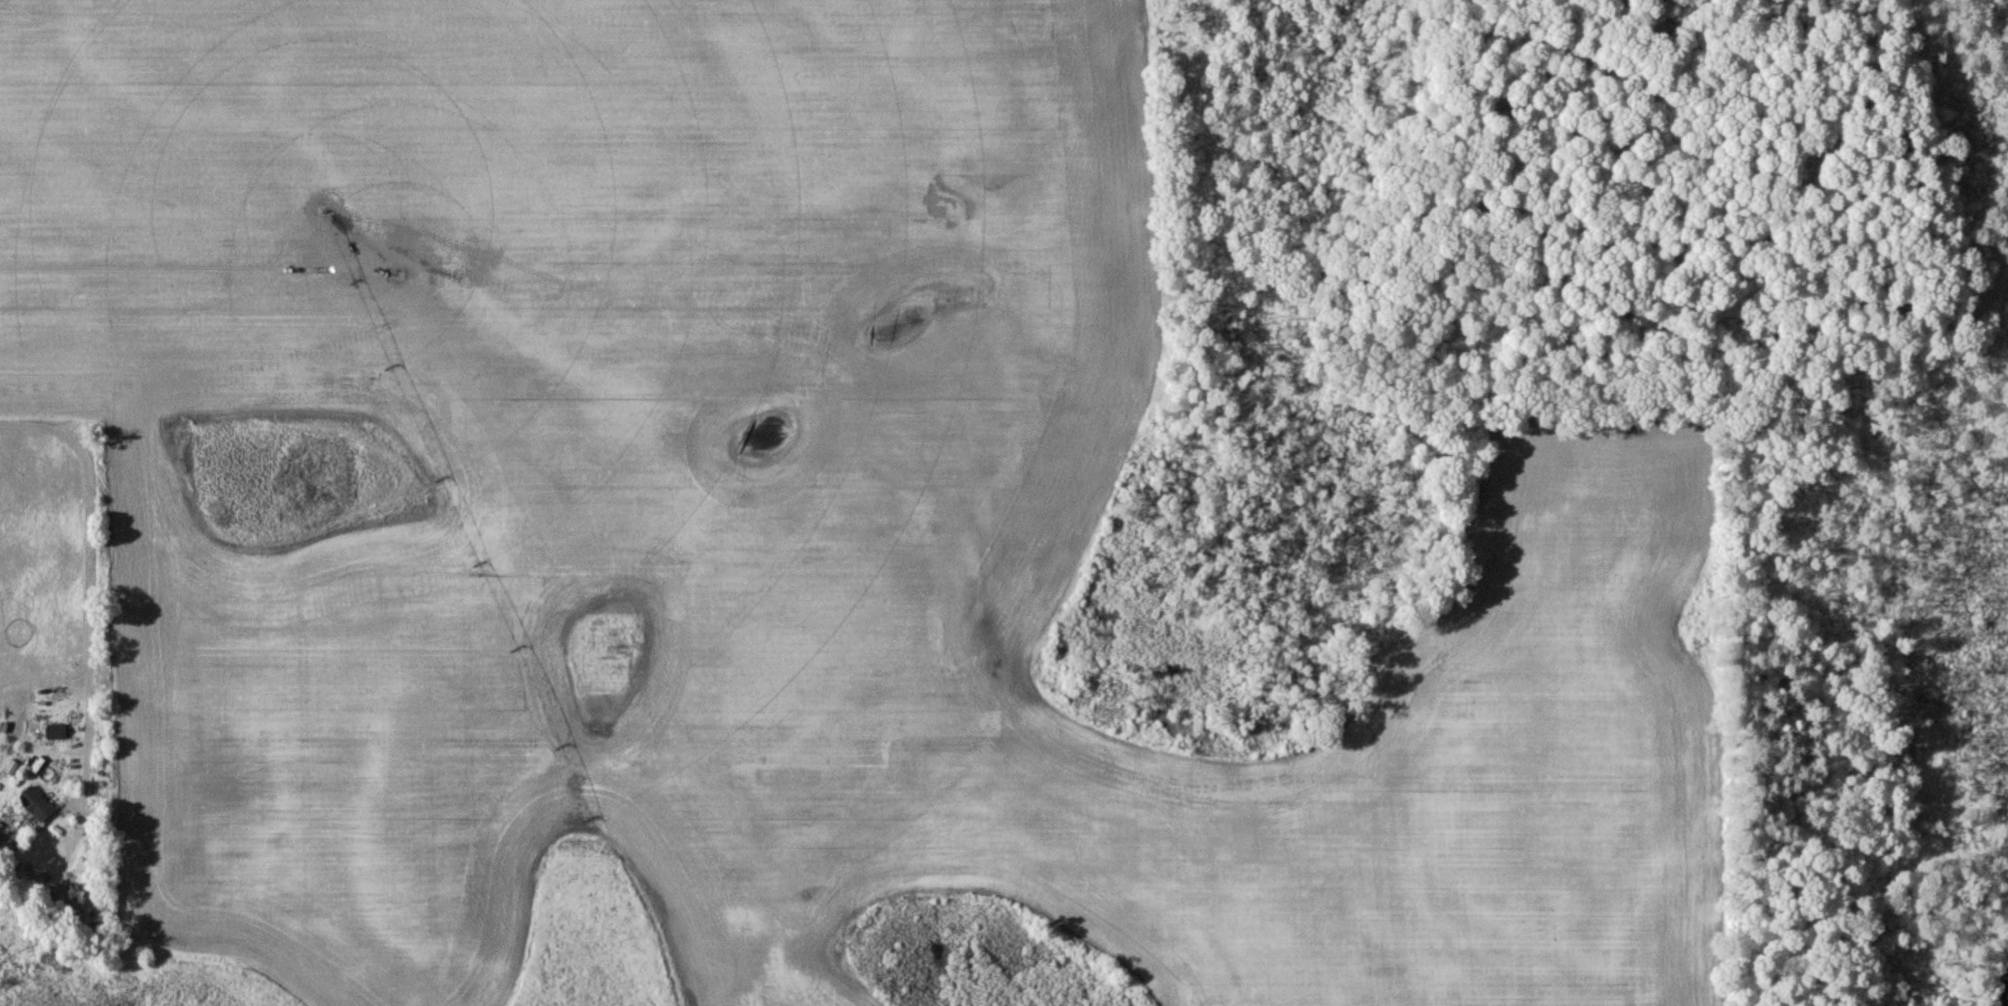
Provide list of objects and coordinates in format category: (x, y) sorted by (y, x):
road: (88, 534)
building: (36, 804)

